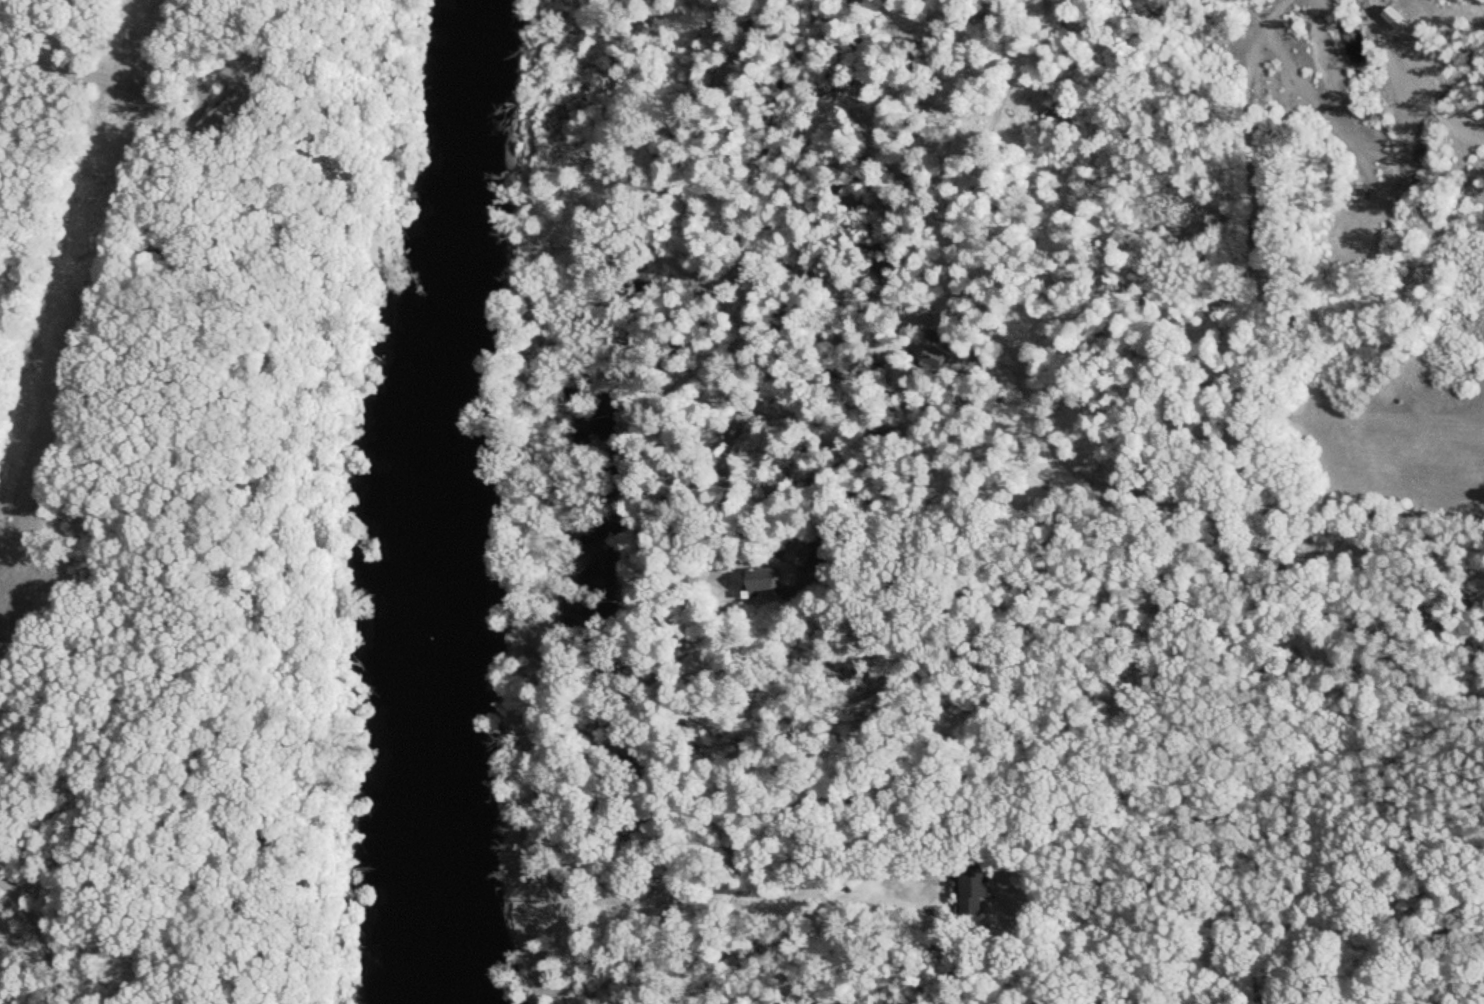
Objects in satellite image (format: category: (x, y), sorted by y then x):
road: (1407, 1)
road: (1265, 24)
road: (93, 74)
river: (424, 501)
building: (769, 582)
building: (968, 889)
road: (1253, 919)
road: (43, 939)

